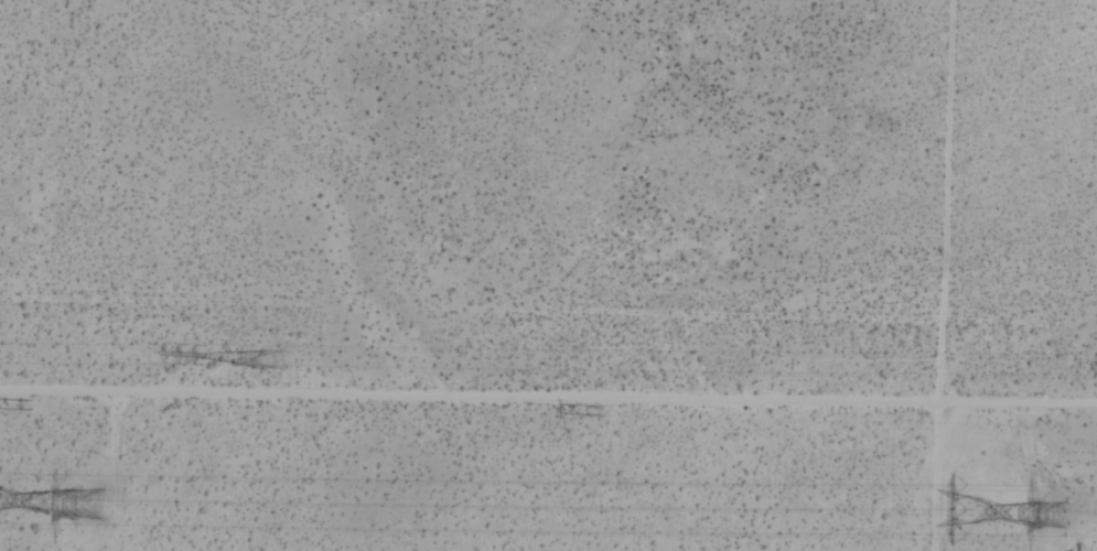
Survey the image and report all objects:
power tower: (275, 361)
road: (469, 396)
road: (1017, 401)
power tower: (36, 404)
power tower: (606, 411)
power tower: (93, 505)
power tower: (1075, 516)

